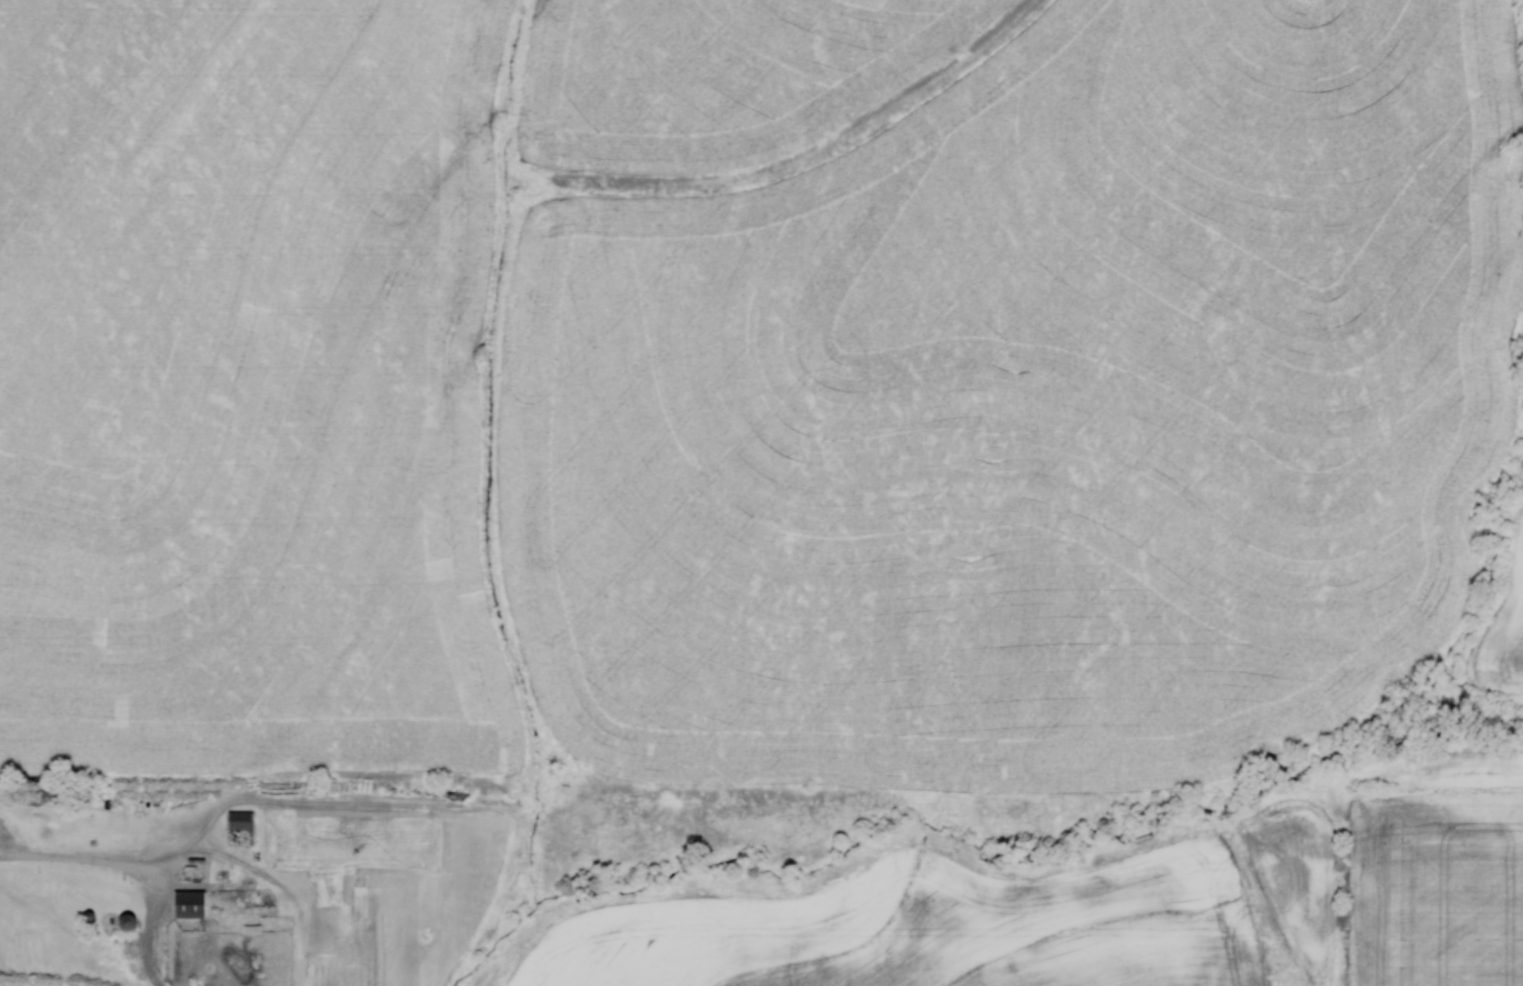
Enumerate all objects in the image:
building: (238, 819)
road: (103, 862)
building: (186, 903)
building: (122, 920)

